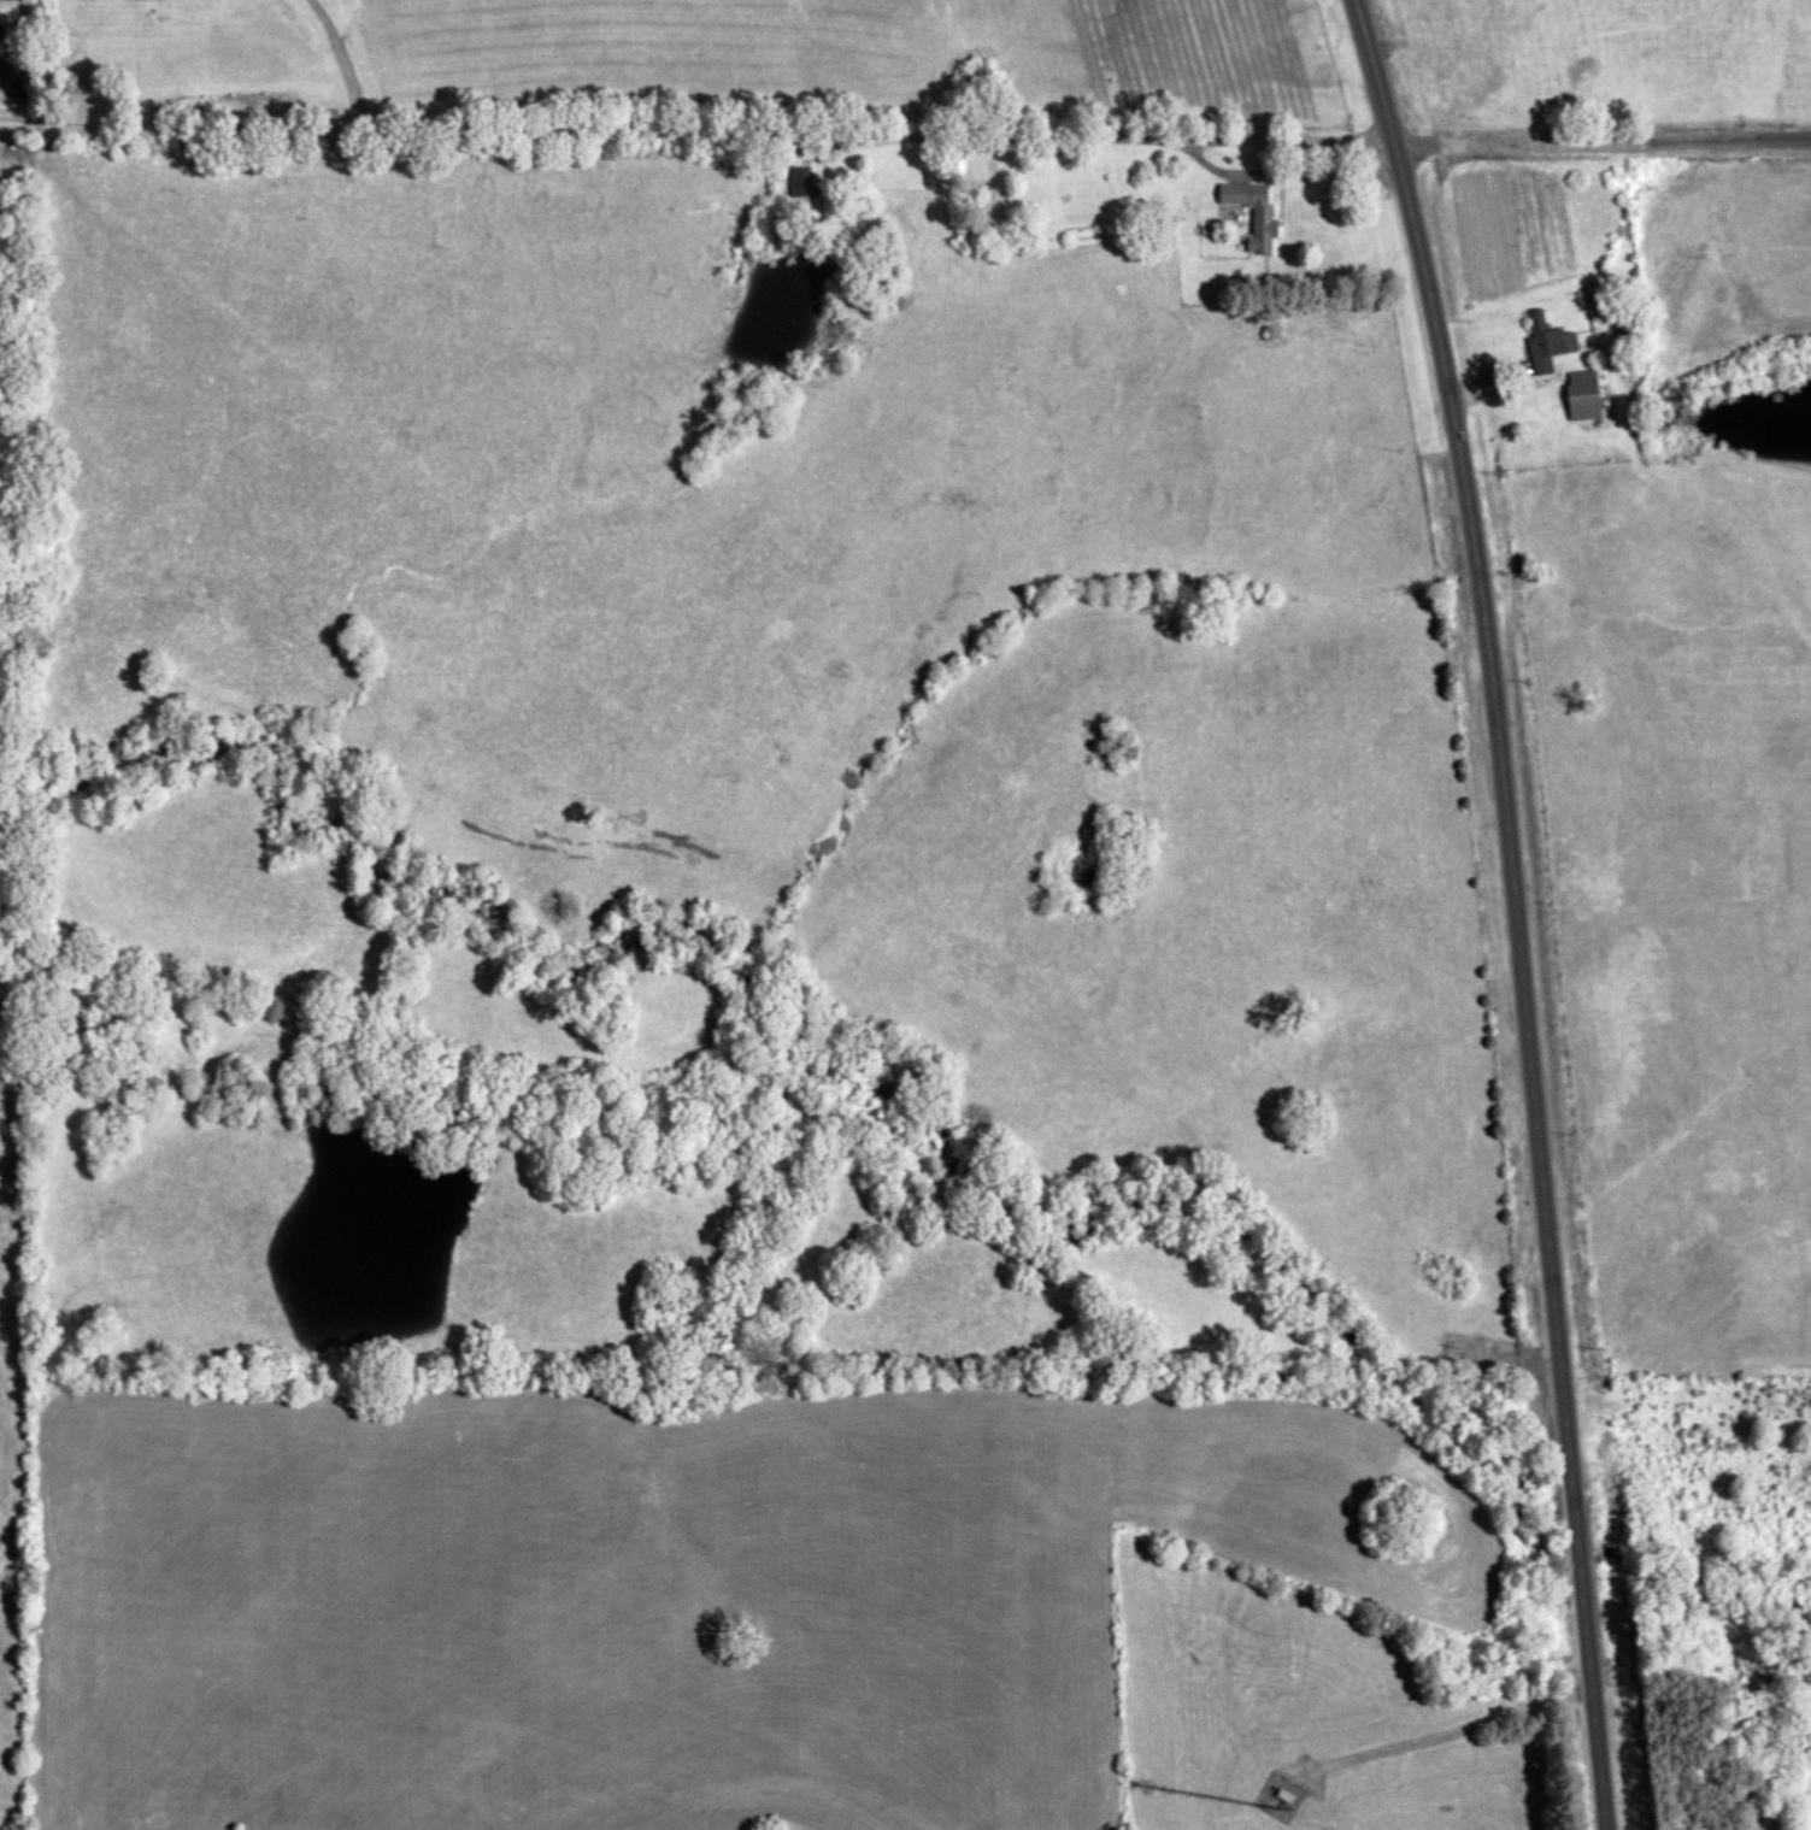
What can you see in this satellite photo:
road: (341, 59)
road: (905, 136)
building: (122, 147)
building: (802, 184)
building: (1010, 201)
building: (1253, 213)
building: (1270, 324)
building: (1623, 326)
building: (1547, 342)
building: (1583, 394)
road: (1515, 908)

